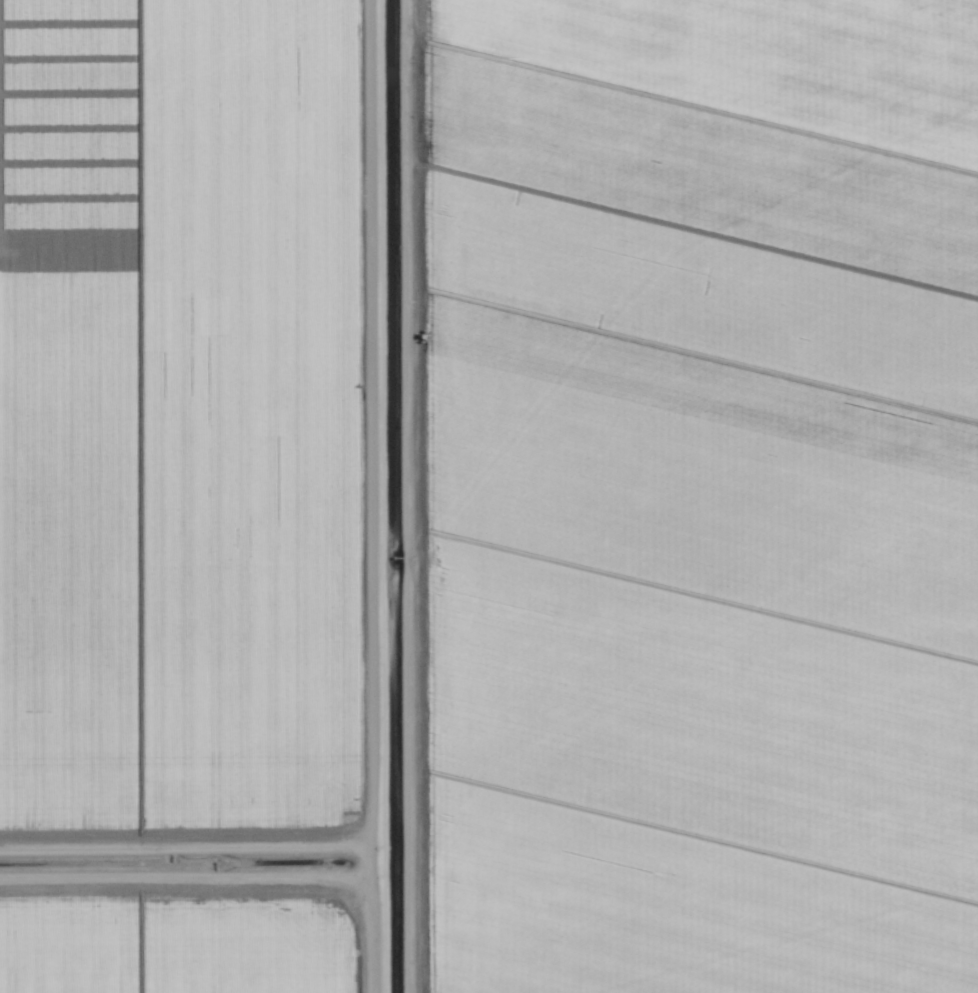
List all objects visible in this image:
road: (373, 496)
crop: (489, 496)

